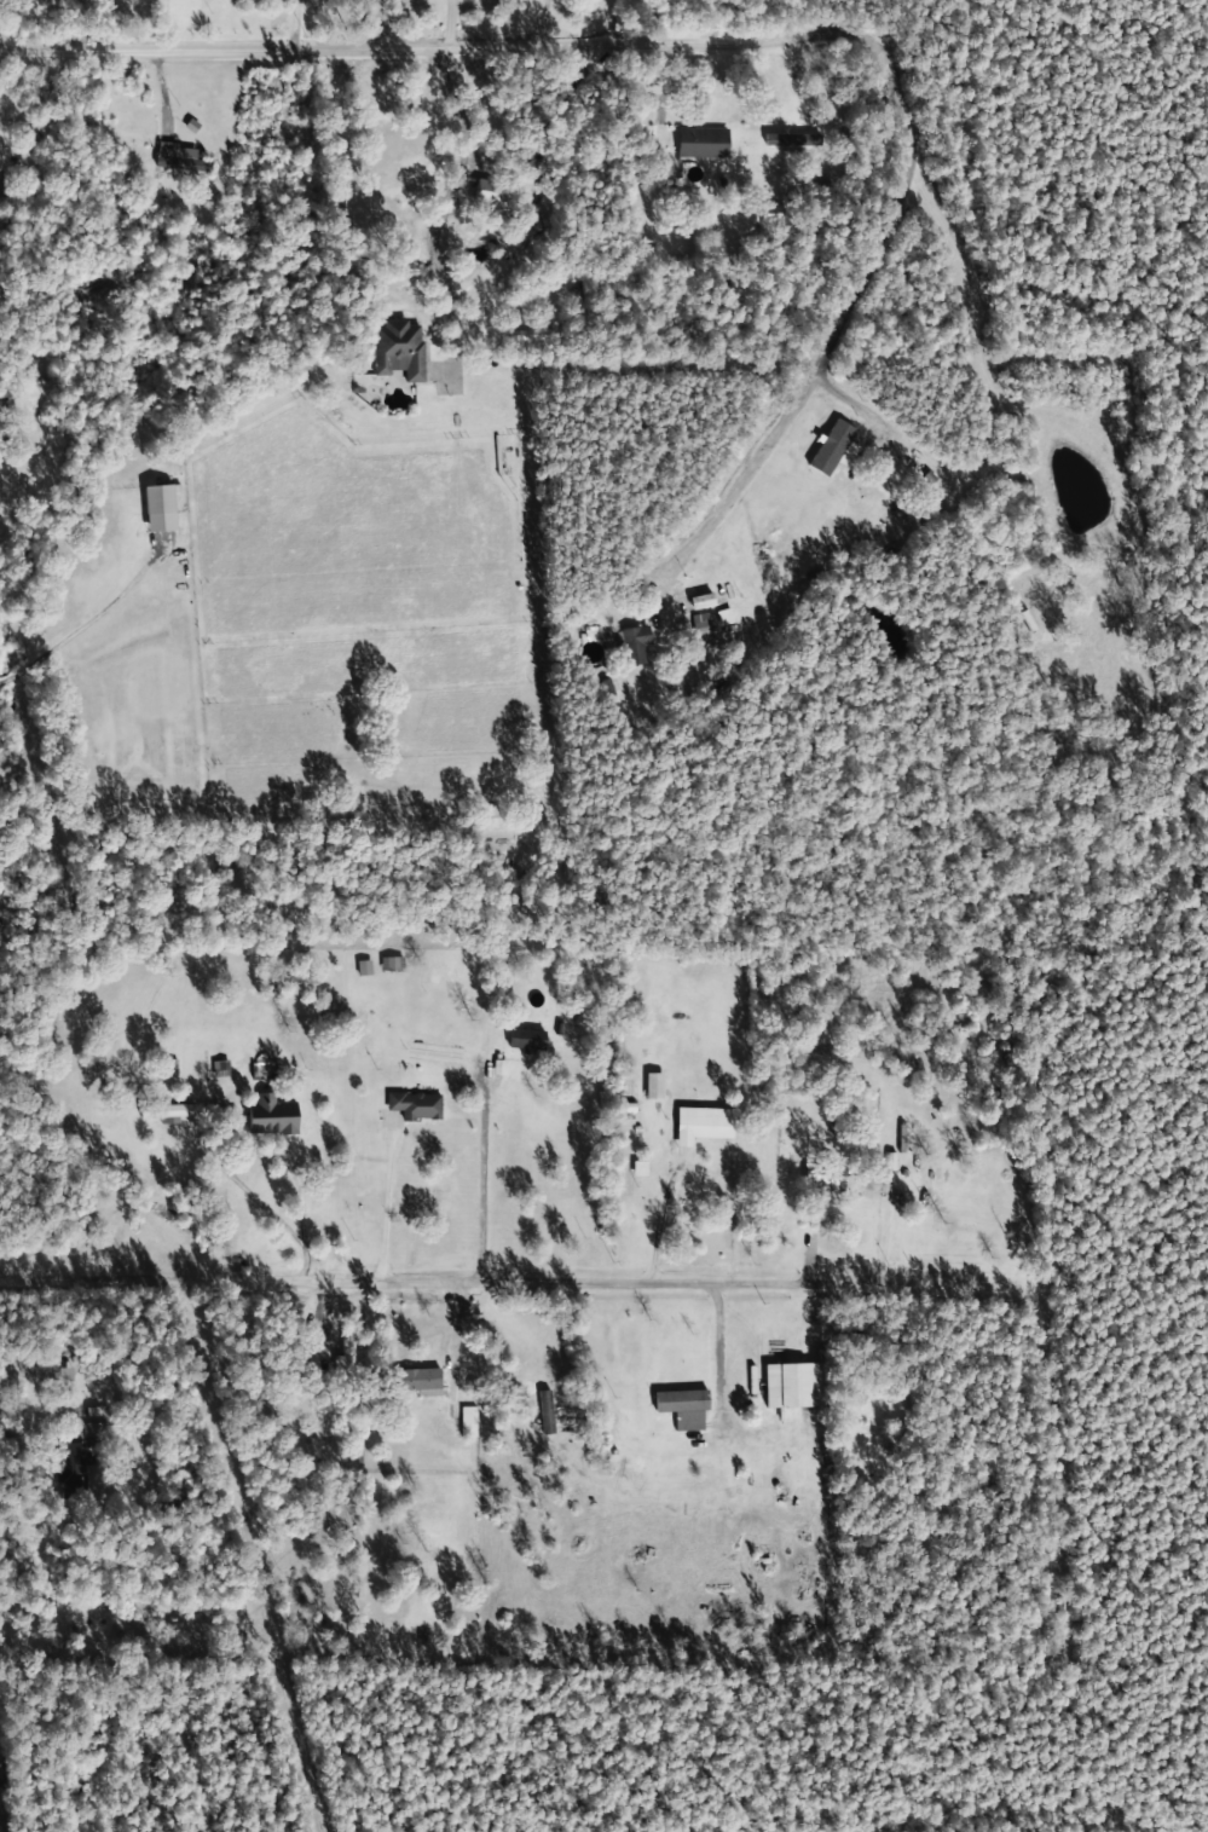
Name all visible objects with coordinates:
road: (536, 46)
building: (135, 122)
building: (700, 144)
building: (178, 158)
building: (489, 193)
building: (397, 351)
building: (891, 480)
building: (1092, 614)
building: (700, 626)
building: (632, 645)
building: (391, 965)
building: (519, 1042)
building: (432, 1054)
building: (219, 1069)
building: (414, 1106)
building: (164, 1113)
building: (268, 1117)
building: (700, 1126)
building: (626, 1173)
building: (822, 1179)
building: (944, 1201)
road: (291, 1318)
building: (345, 1356)
building: (48, 1374)
building: (414, 1381)
building: (172, 1383)
building: (791, 1386)
building: (680, 1408)
building: (466, 1422)
building: (87, 1431)
building: (69, 1472)
building: (58, 1632)

